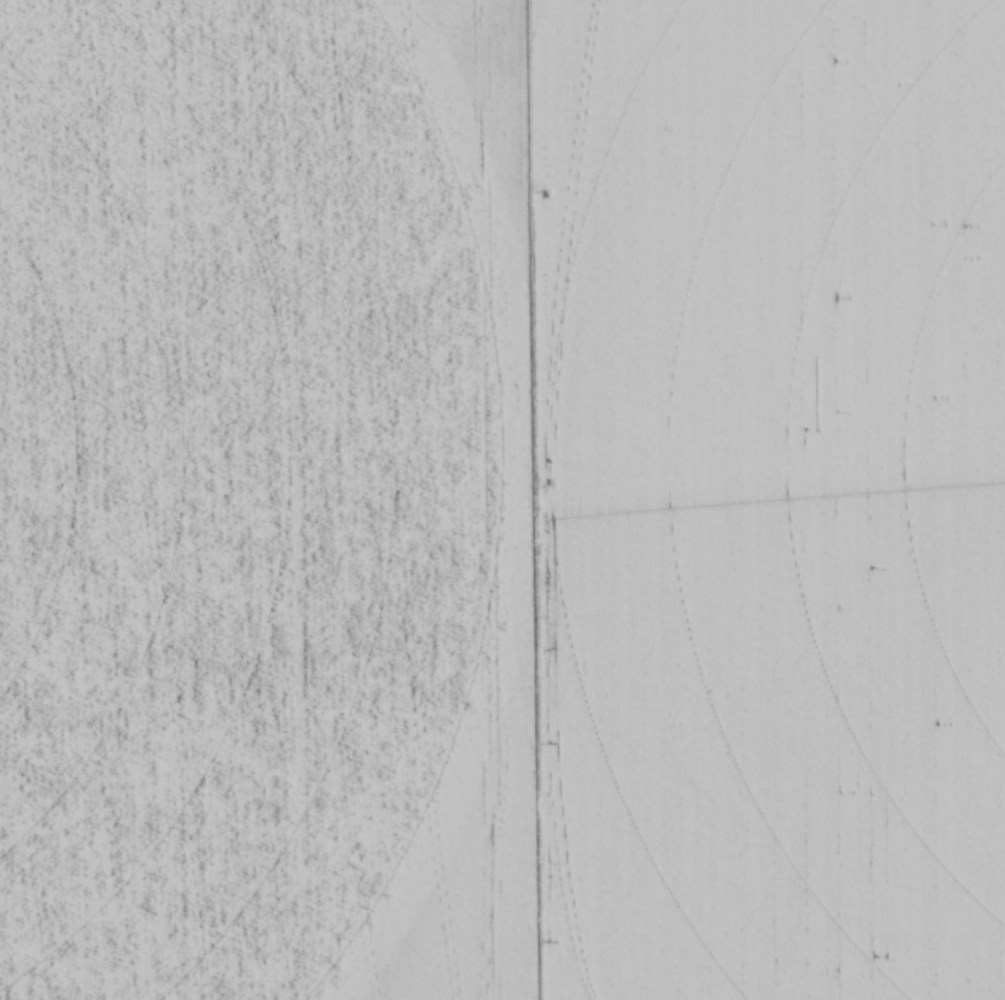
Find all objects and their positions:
crop: (502, 500)

